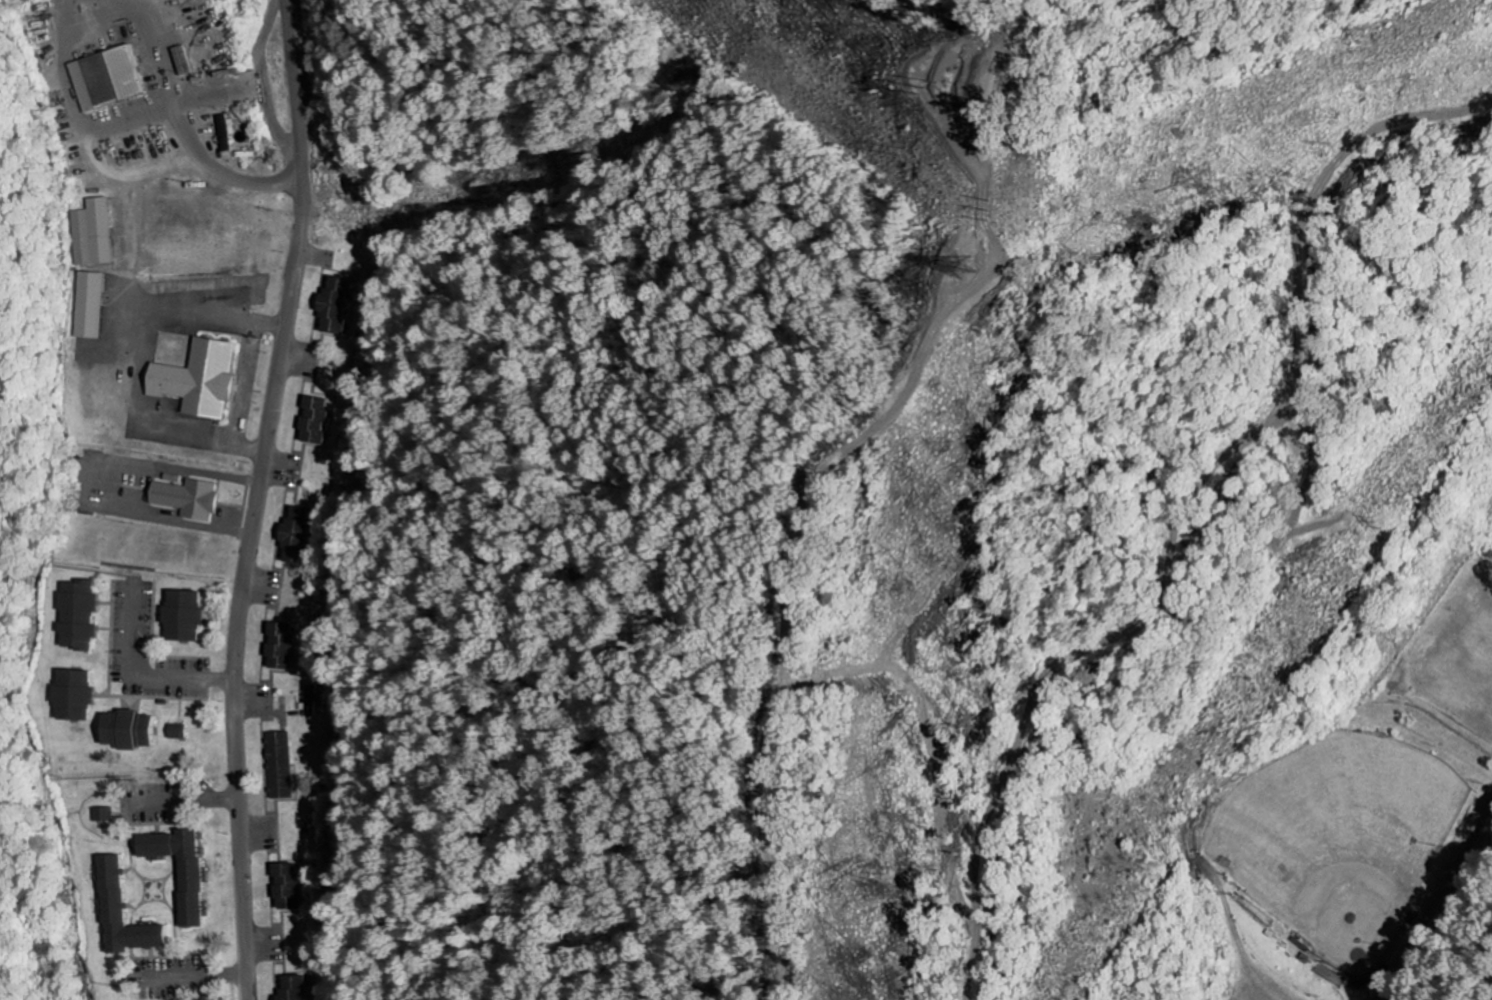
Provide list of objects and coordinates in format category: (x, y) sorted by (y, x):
building: (105, 80)
building: (688, 80)
power tower: (992, 193)
building: (91, 234)
building: (88, 306)
building: (331, 306)
building: (196, 380)
building: (314, 421)
road: (254, 498)
building: (185, 499)
building: (295, 537)
building: (75, 616)
building: (180, 618)
building: (279, 647)
building: (312, 701)
building: (124, 731)
building: (177, 732)
building: (277, 766)
building: (101, 816)
building: (177, 870)
building: (286, 888)
building: (109, 891)
road: (1430, 908)
building: (292, 989)

